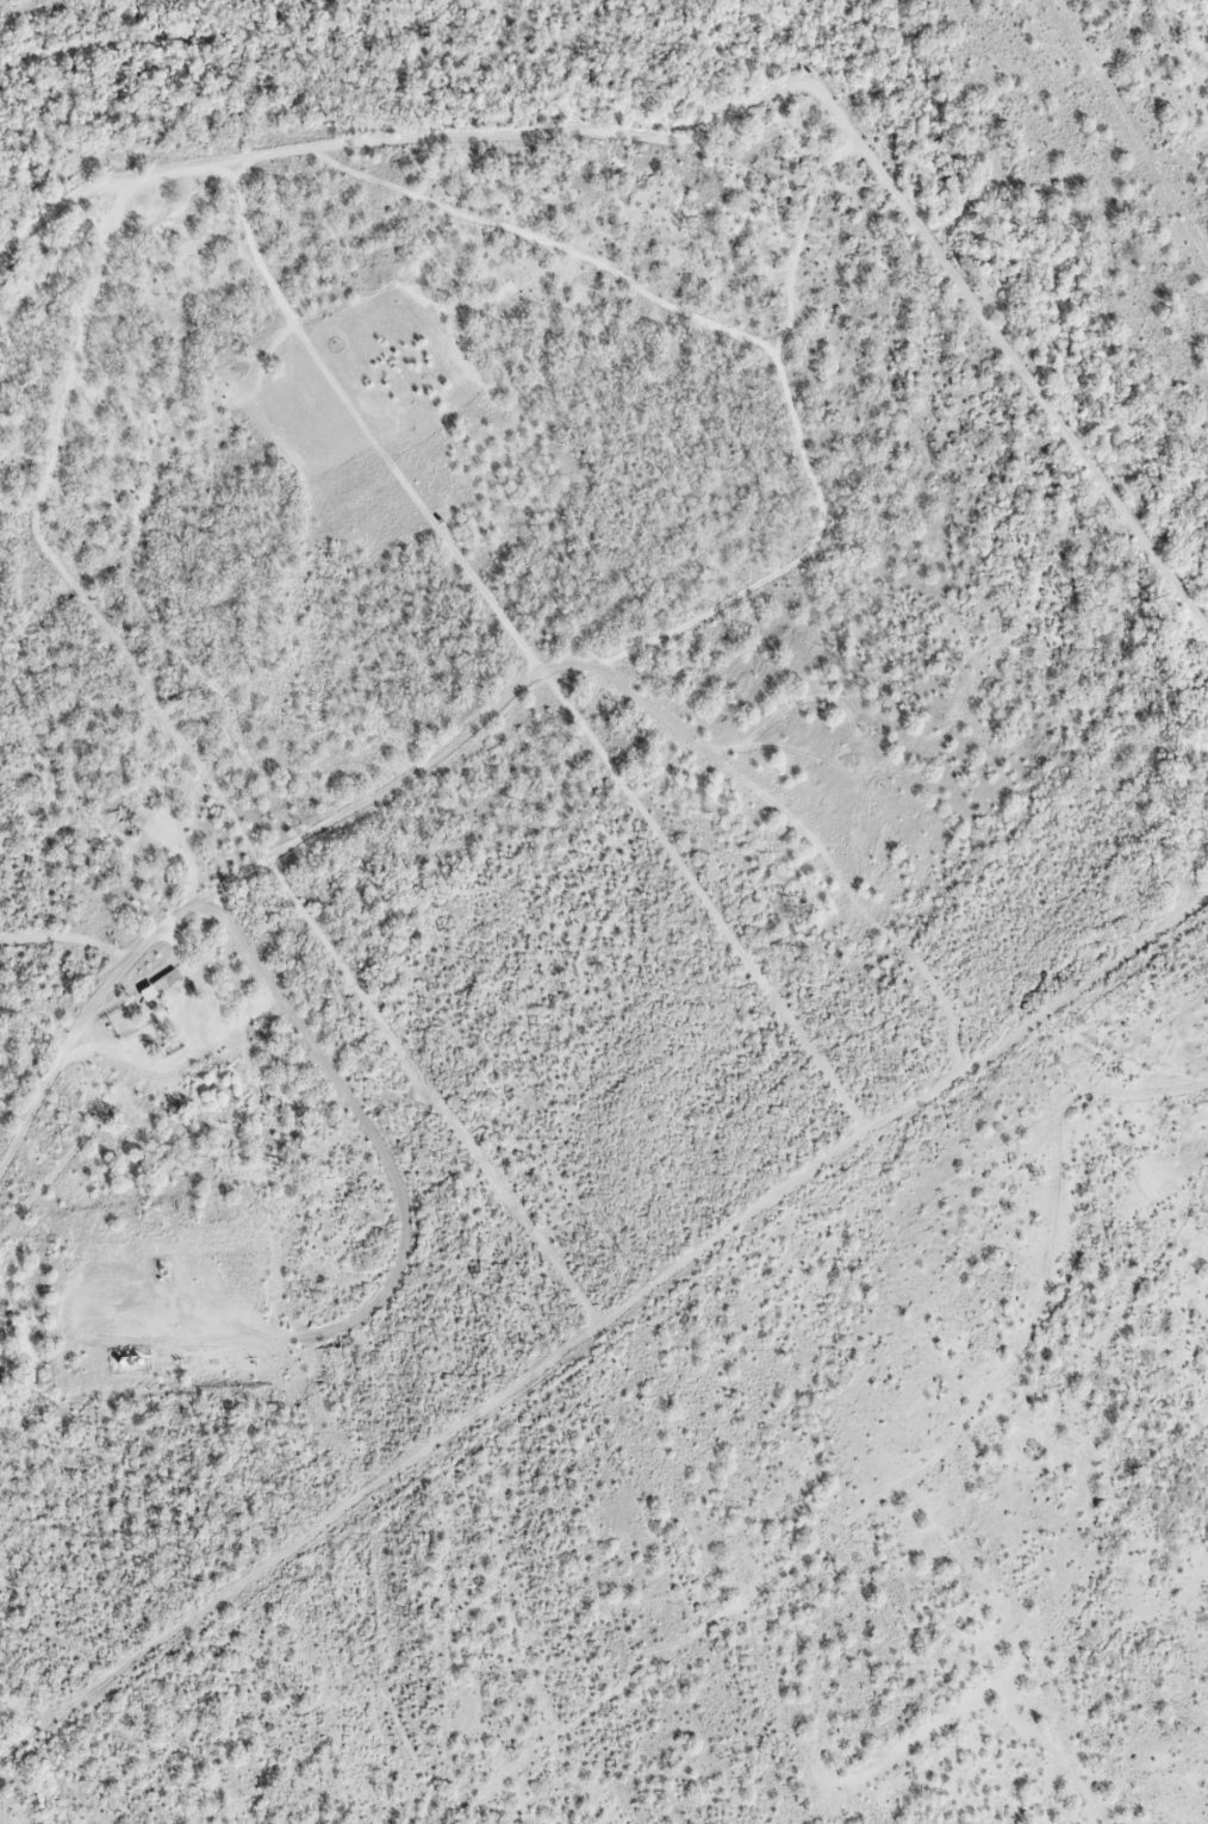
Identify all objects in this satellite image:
road: (390, 1384)

